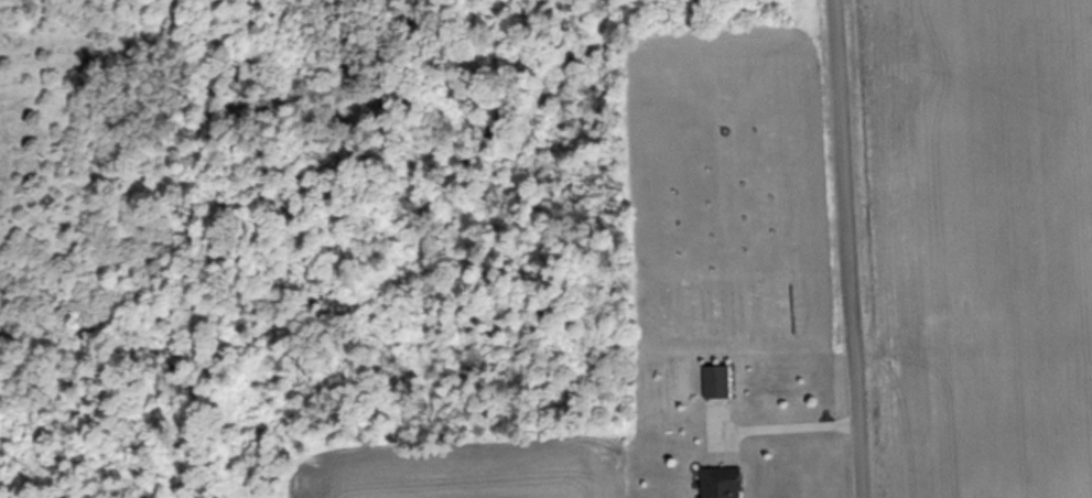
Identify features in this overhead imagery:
road: (847, 249)
building: (720, 483)

